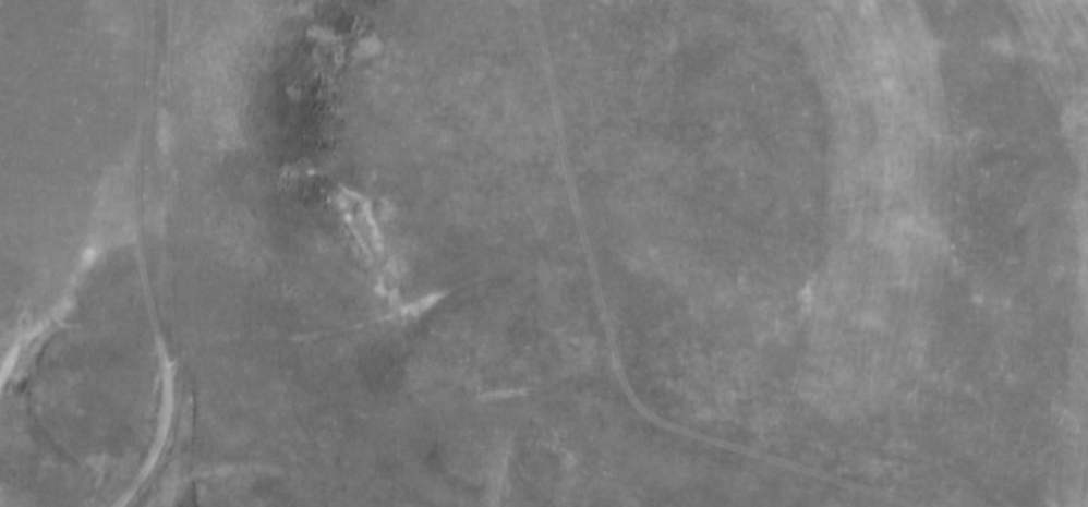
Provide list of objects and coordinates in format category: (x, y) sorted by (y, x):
road: (144, 259)
road: (542, 387)

